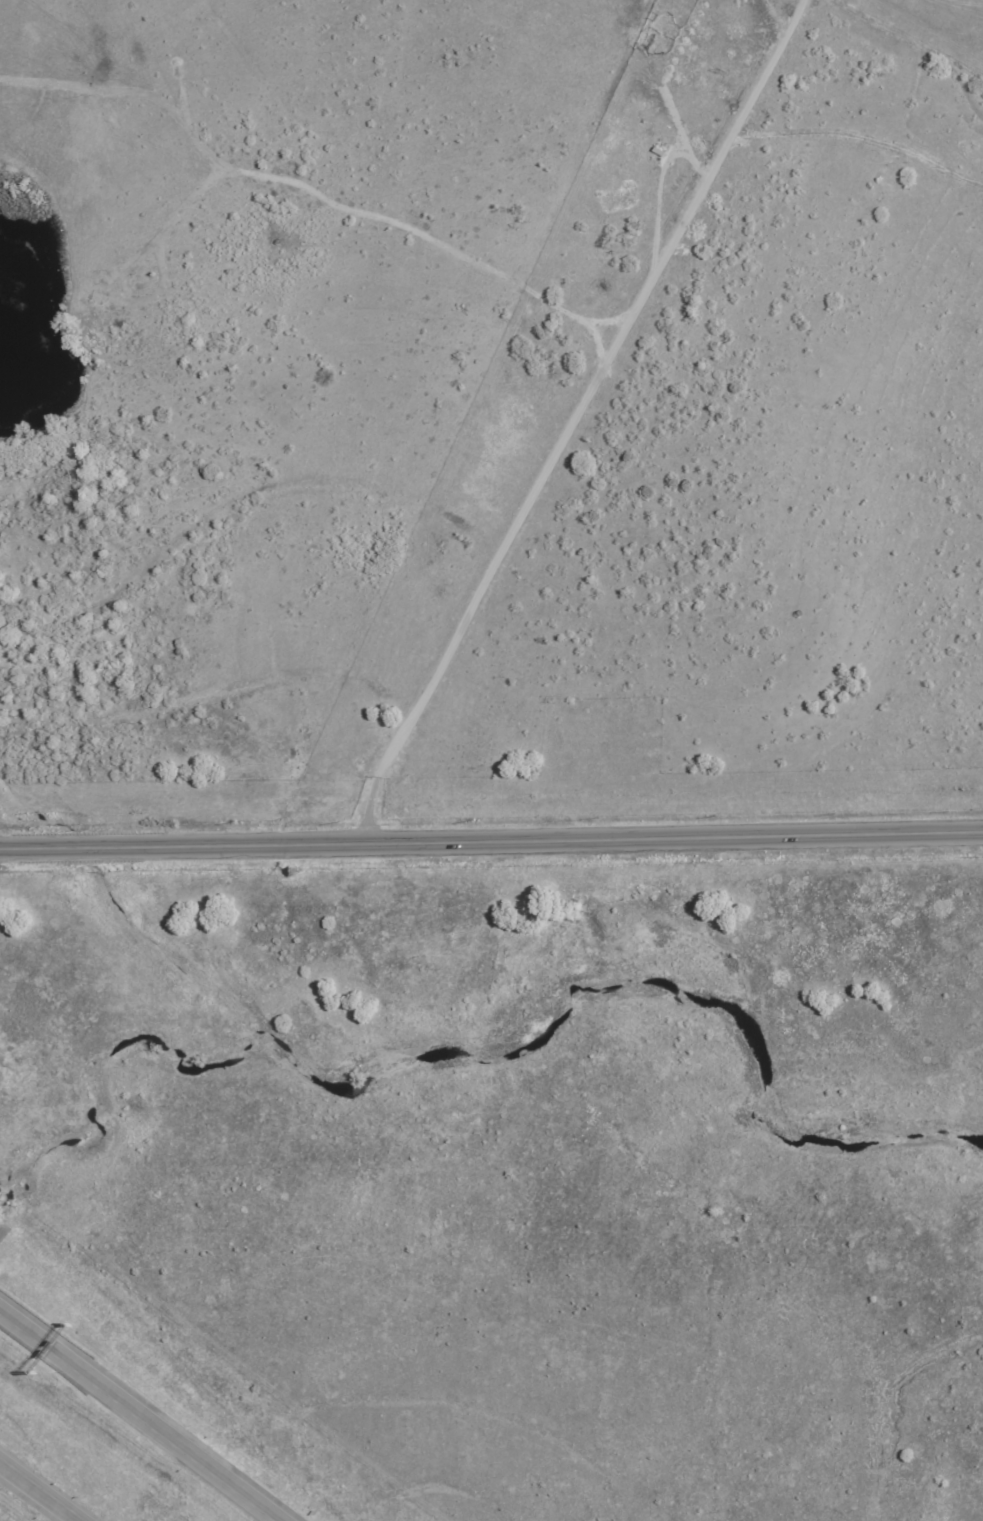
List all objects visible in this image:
building: (658, 152)
road: (575, 418)
road: (491, 841)
road: (137, 1415)
road: (37, 1493)

